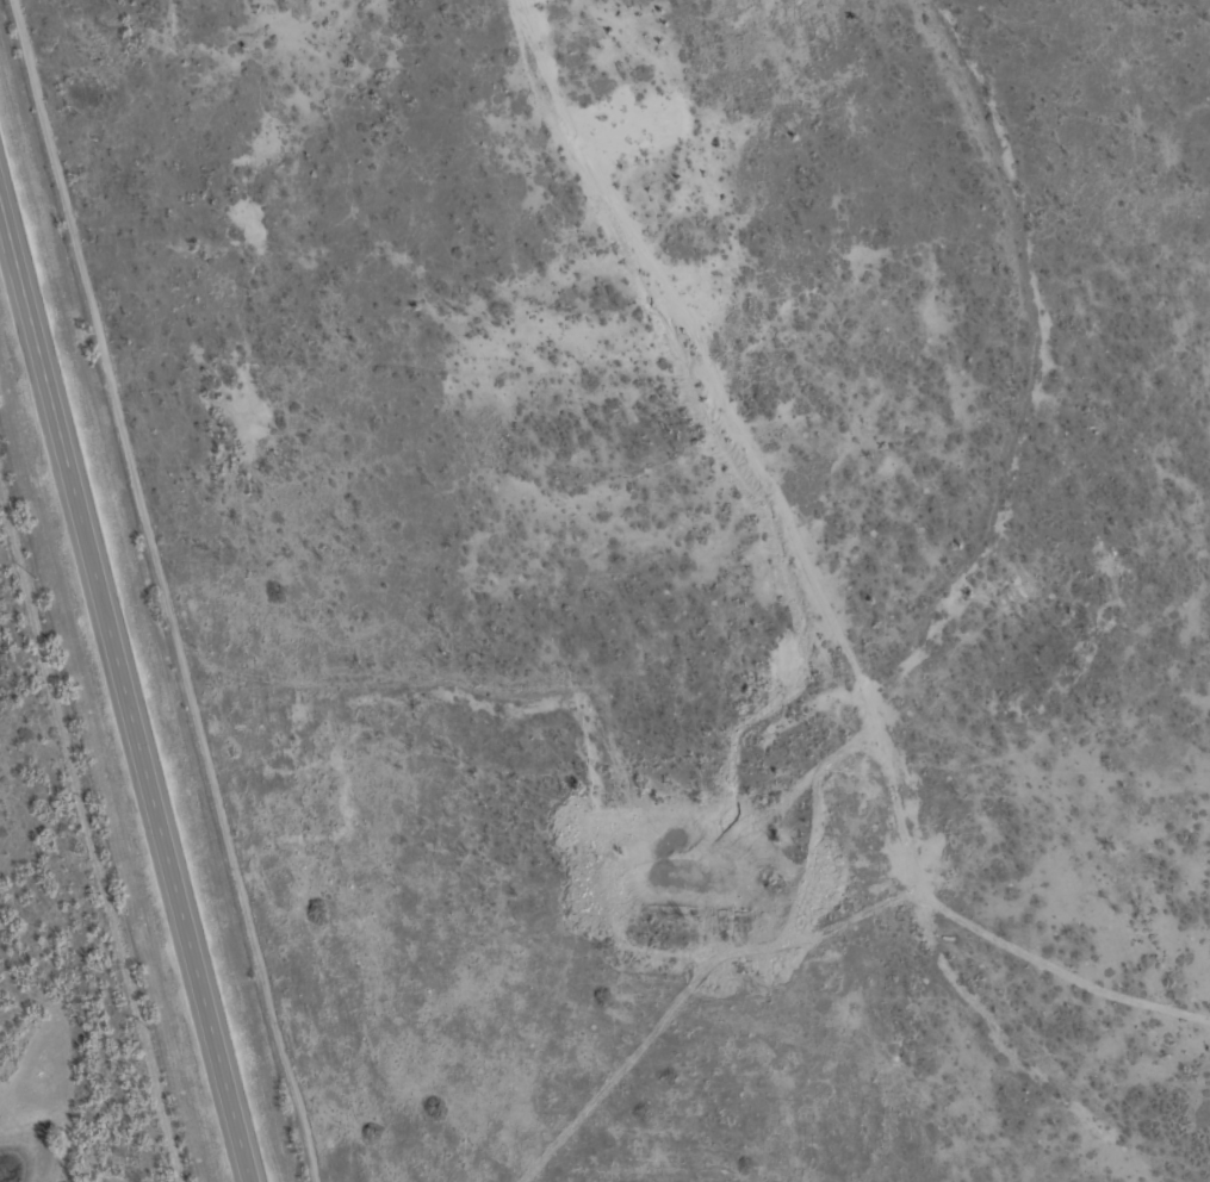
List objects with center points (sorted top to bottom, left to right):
road: (124, 685)

